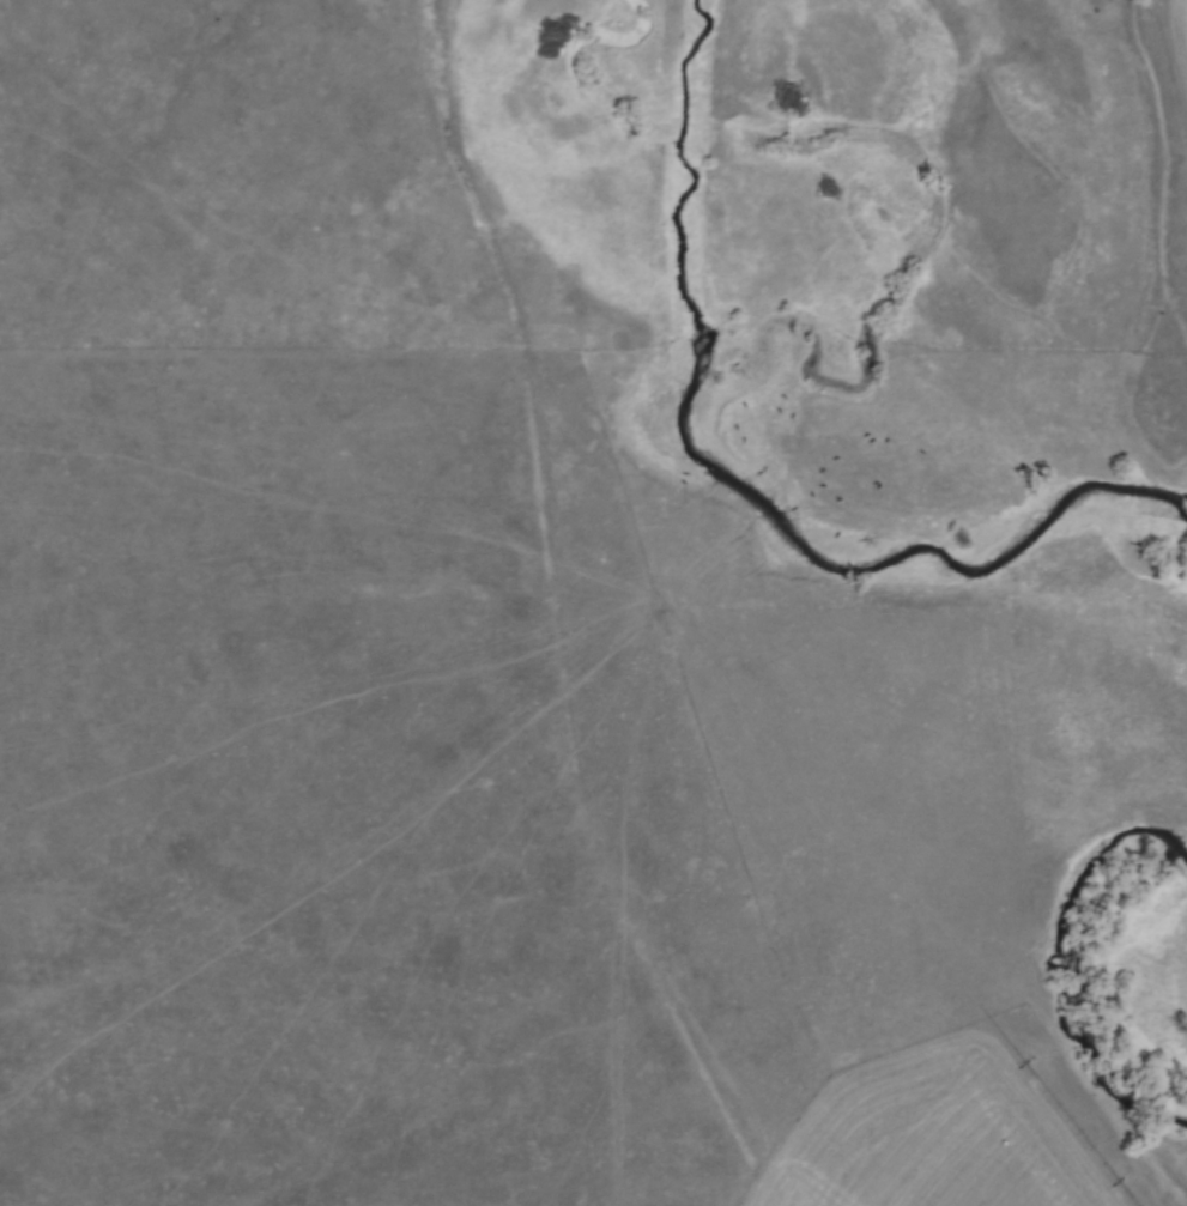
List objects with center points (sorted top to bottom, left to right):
crop: (1179, 41)
crop: (892, 904)

